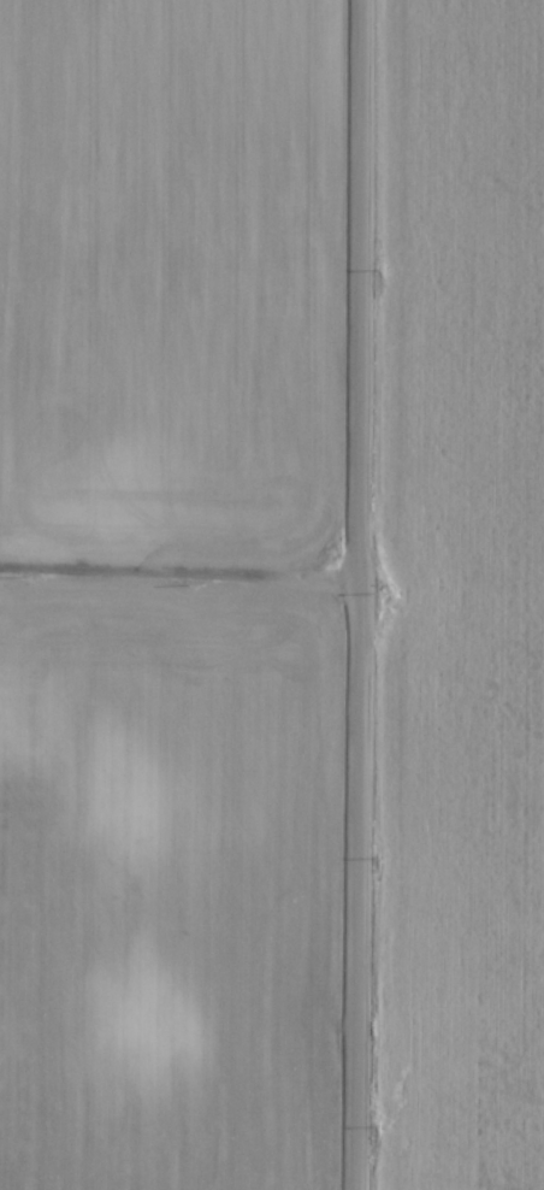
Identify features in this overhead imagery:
road: (182, 572)
road: (363, 594)

